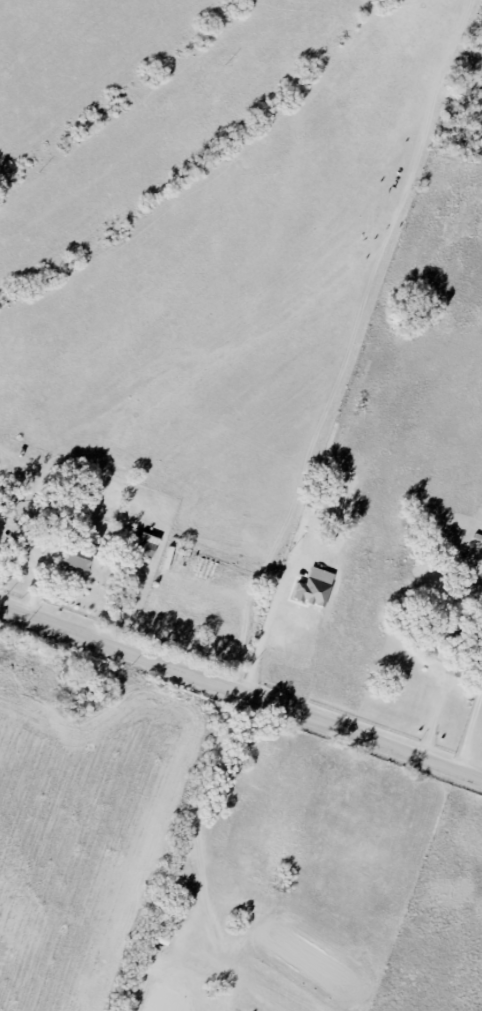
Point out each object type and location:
building: (147, 545)
building: (80, 557)
building: (312, 593)
road: (264, 633)
road: (241, 692)
road: (468, 734)

